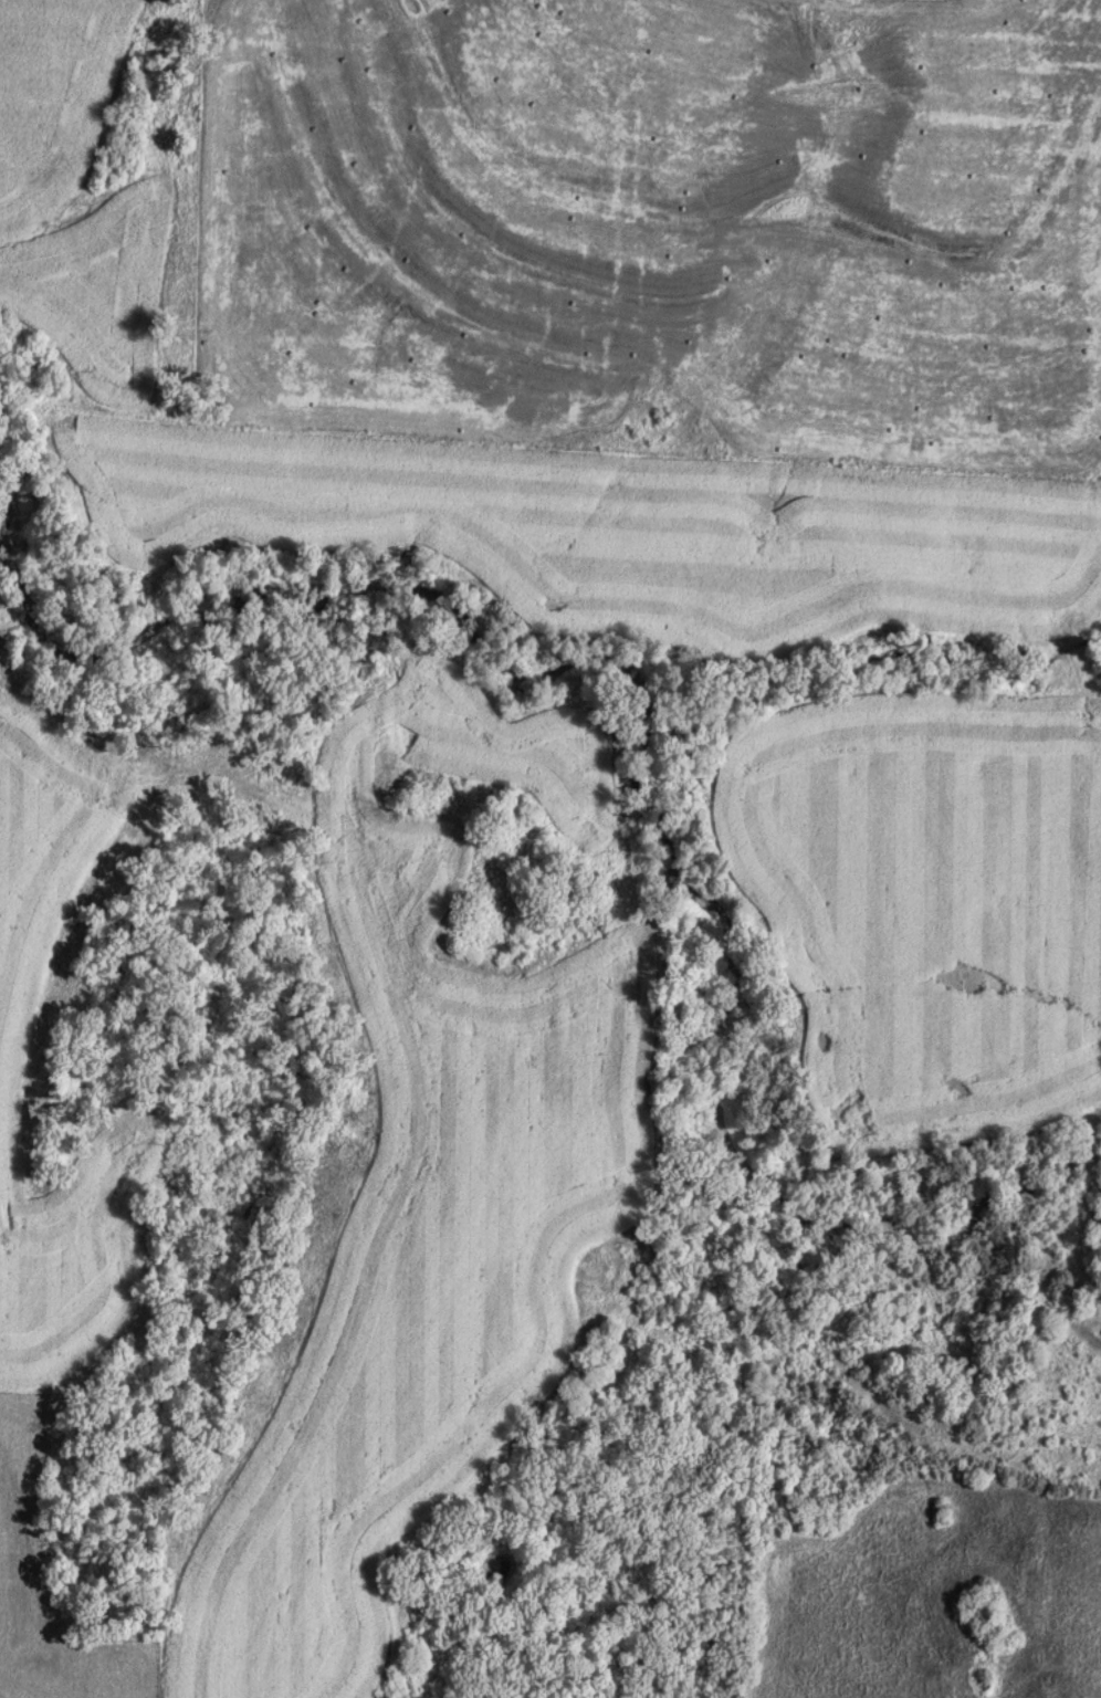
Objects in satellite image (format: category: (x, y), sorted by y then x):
building: (935, 1513)

